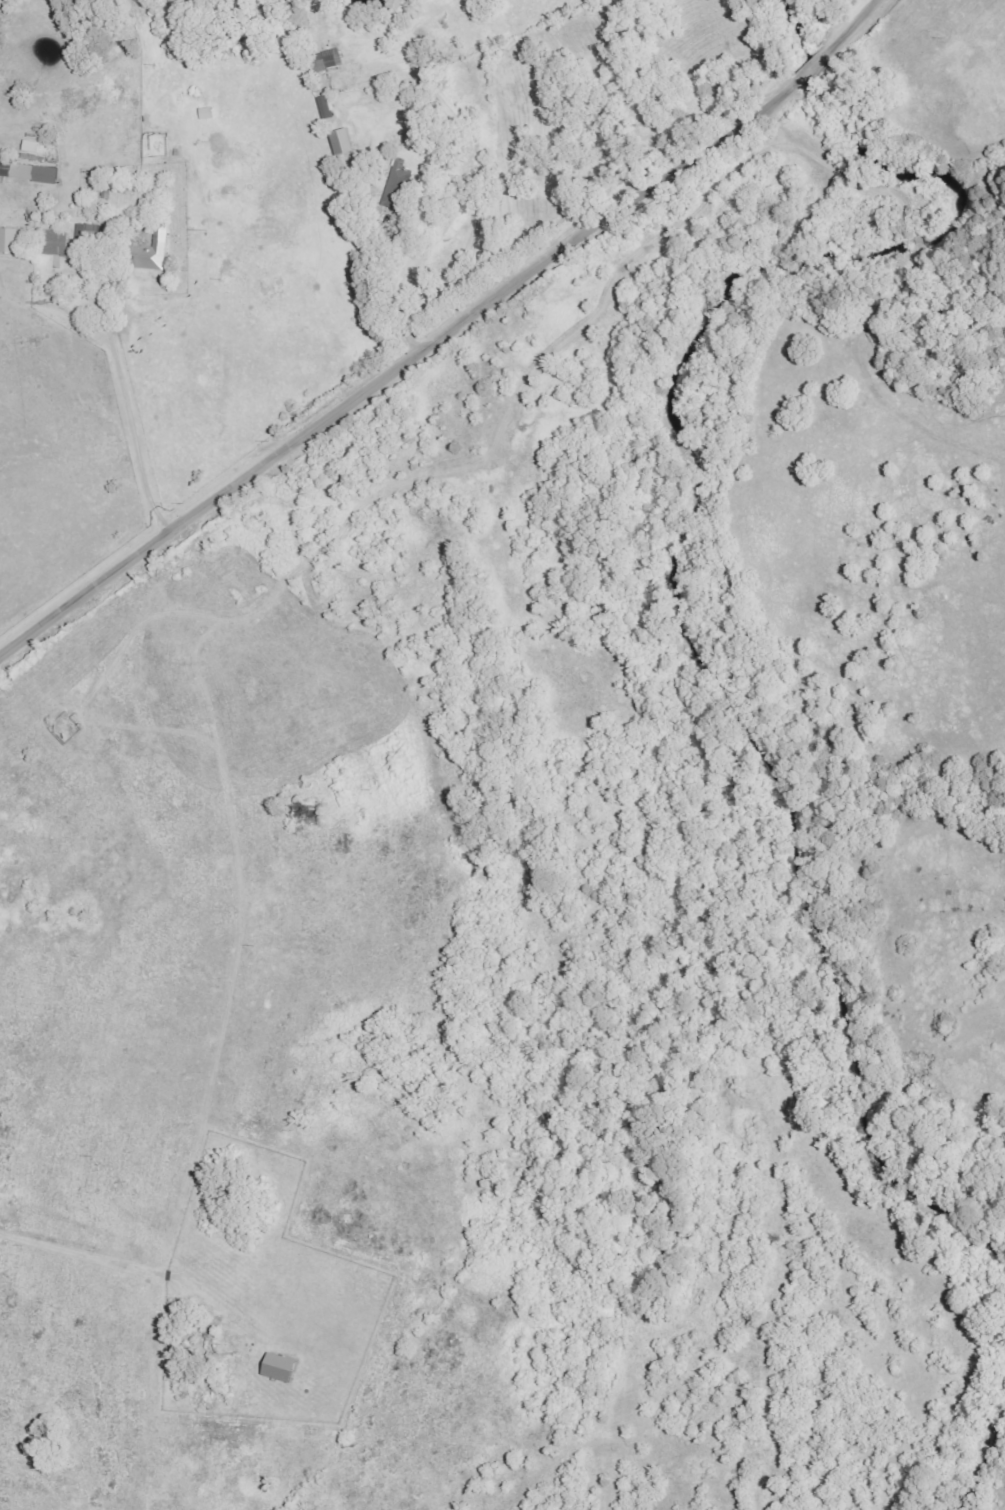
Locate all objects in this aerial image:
building: (327, 62)
building: (342, 143)
building: (29, 173)
building: (8, 243)
building: (55, 244)
building: (148, 254)
road: (446, 335)
road: (134, 429)
building: (279, 1368)

